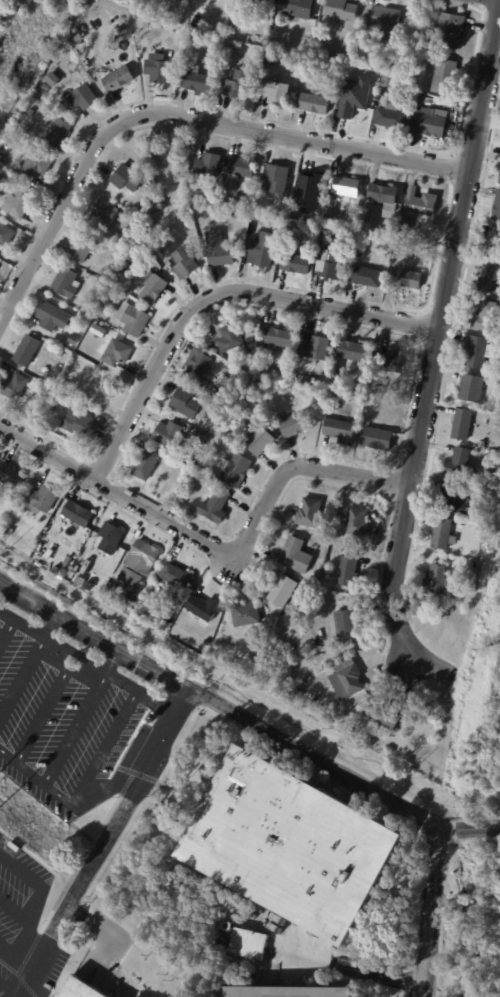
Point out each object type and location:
building: (253, 2)
building: (296, 8)
building: (340, 10)
building: (135, 15)
building: (195, 21)
building: (384, 21)
building: (229, 30)
building: (448, 30)
building: (193, 33)
building: (288, 44)
building: (82, 46)
building: (229, 50)
building: (349, 53)
building: (407, 57)
building: (157, 68)
building: (345, 73)
building: (443, 77)
building: (51, 79)
building: (117, 79)
building: (195, 81)
building: (389, 82)
building: (236, 84)
building: (44, 87)
building: (275, 92)
building: (380, 92)
building: (81, 97)
building: (424, 99)
building: (37, 100)
building: (313, 104)
building: (353, 106)
building: (29, 113)
road: (179, 115)
building: (390, 117)
building: (427, 123)
building: (57, 134)
building: (164, 154)
building: (35, 164)
building: (209, 165)
building: (241, 167)
building: (276, 178)
building: (126, 179)
building: (0, 180)
building: (499, 182)
building: (311, 184)
building: (345, 186)
building: (383, 195)
building: (263, 200)
building: (17, 203)
building: (419, 203)
building: (497, 207)
building: (101, 215)
building: (406, 225)
building: (301, 227)
building: (5, 235)
building: (124, 236)
building: (494, 242)
building: (362, 243)
building: (81, 247)
building: (217, 252)
building: (261, 253)
building: (183, 263)
building: (295, 263)
building: (125, 266)
building: (331, 266)
building: (365, 276)
building: (405, 279)
building: (490, 280)
building: (64, 283)
building: (151, 288)
road: (216, 293)
building: (110, 295)
building: (52, 318)
building: (485, 318)
building: (132, 319)
building: (97, 331)
building: (275, 338)
building: (229, 339)
building: (72, 340)
road: (435, 346)
building: (316, 349)
building: (26, 351)
building: (83, 352)
building: (352, 352)
building: (116, 353)
building: (478, 353)
building: (392, 362)
building: (200, 369)
building: (231, 372)
building: (301, 379)
building: (12, 386)
building: (383, 386)
building: (474, 388)
building: (100, 391)
building: (182, 404)
building: (52, 405)
building: (212, 410)
building: (77, 423)
building: (294, 425)
building: (462, 425)
building: (339, 431)
building: (168, 436)
building: (376, 439)
building: (257, 440)
building: (482, 444)
building: (188, 458)
building: (458, 464)
building: (145, 465)
building: (236, 471)
building: (9, 476)
building: (485, 480)
building: (453, 500)
building: (41, 501)
building: (213, 508)
building: (77, 514)
building: (309, 514)
building: (356, 522)
building: (8, 531)
building: (442, 535)
building: (109, 539)
building: (76, 548)
road: (214, 548)
building: (71, 554)
building: (295, 556)
building: (141, 558)
building: (79, 563)
building: (471, 565)
building: (348, 573)
building: (129, 576)
building: (175, 578)
building: (313, 580)
road: (2, 581)
building: (436, 581)
building: (79, 582)
building: (281, 592)
building: (202, 609)
building: (245, 614)
building: (346, 624)
road: (57, 625)
building: (204, 638)
road: (70, 649)
road: (112, 660)
building: (330, 683)
road: (158, 707)
road: (244, 715)
building: (382, 716)
road: (112, 786)
road: (82, 790)
road: (105, 845)
building: (290, 845)
building: (14, 846)
building: (37, 864)
road: (37, 880)
building: (51, 882)
road: (17, 910)
road: (434, 910)
road: (115, 936)
building: (248, 944)
road: (12, 945)
road: (26, 946)
road: (351, 966)
road: (10, 986)
building: (81, 989)
building: (289, 992)

